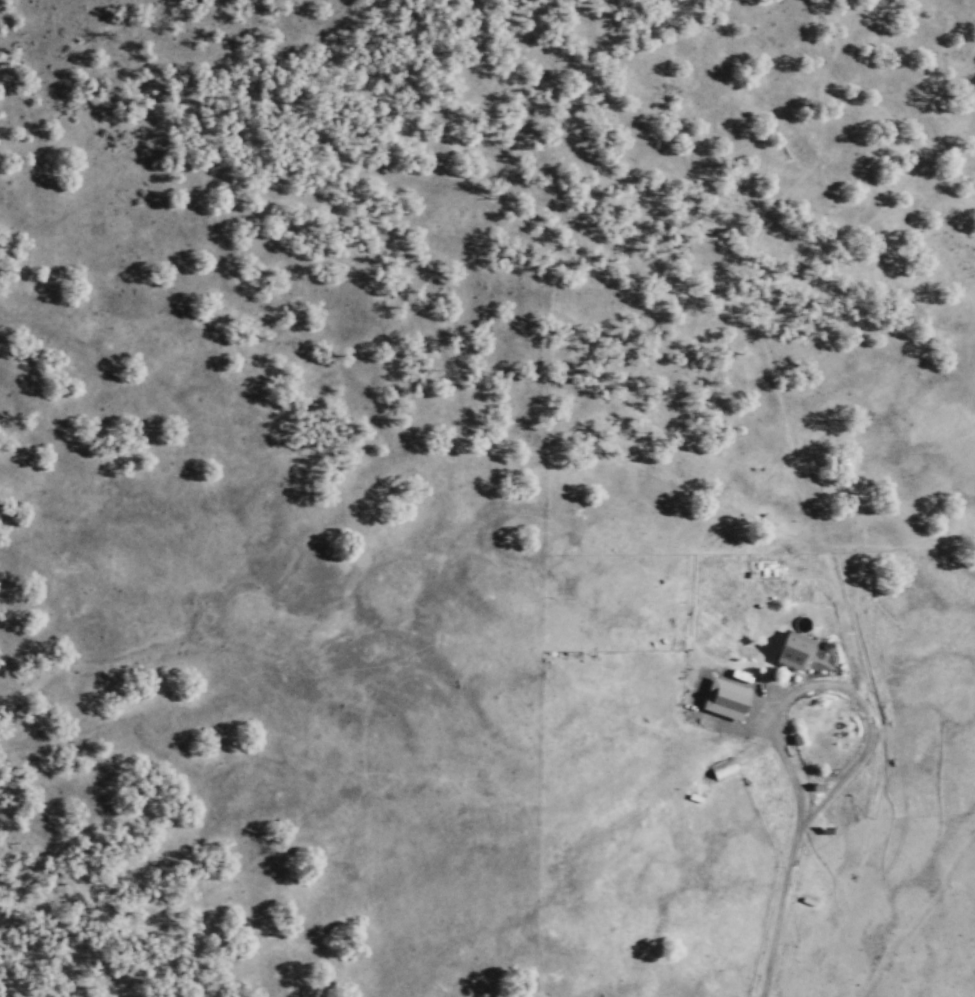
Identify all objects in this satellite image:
building: (793, 652)
building: (724, 699)

